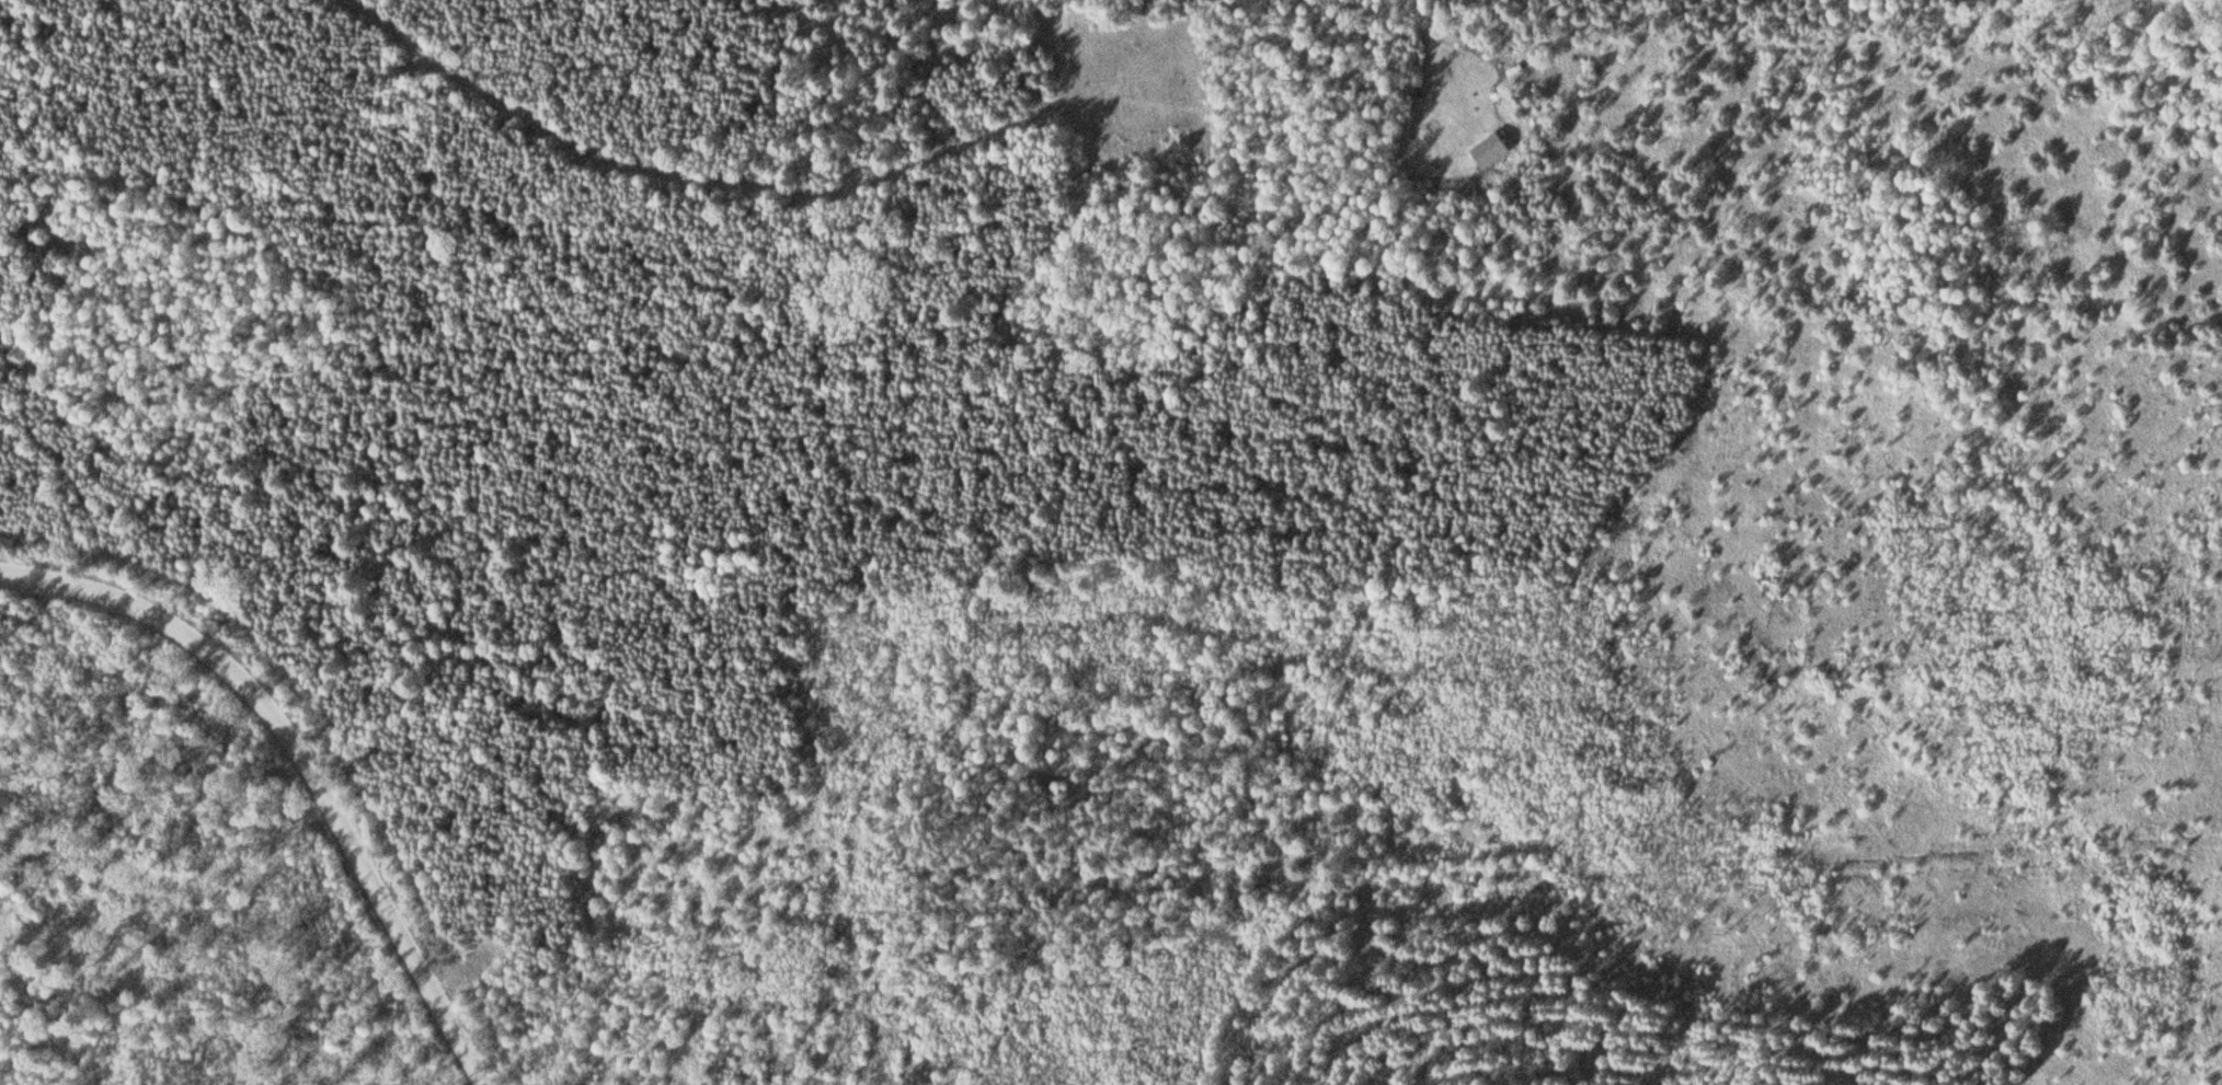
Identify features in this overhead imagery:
road: (1429, 65)
building: (1490, 150)
road: (299, 764)

